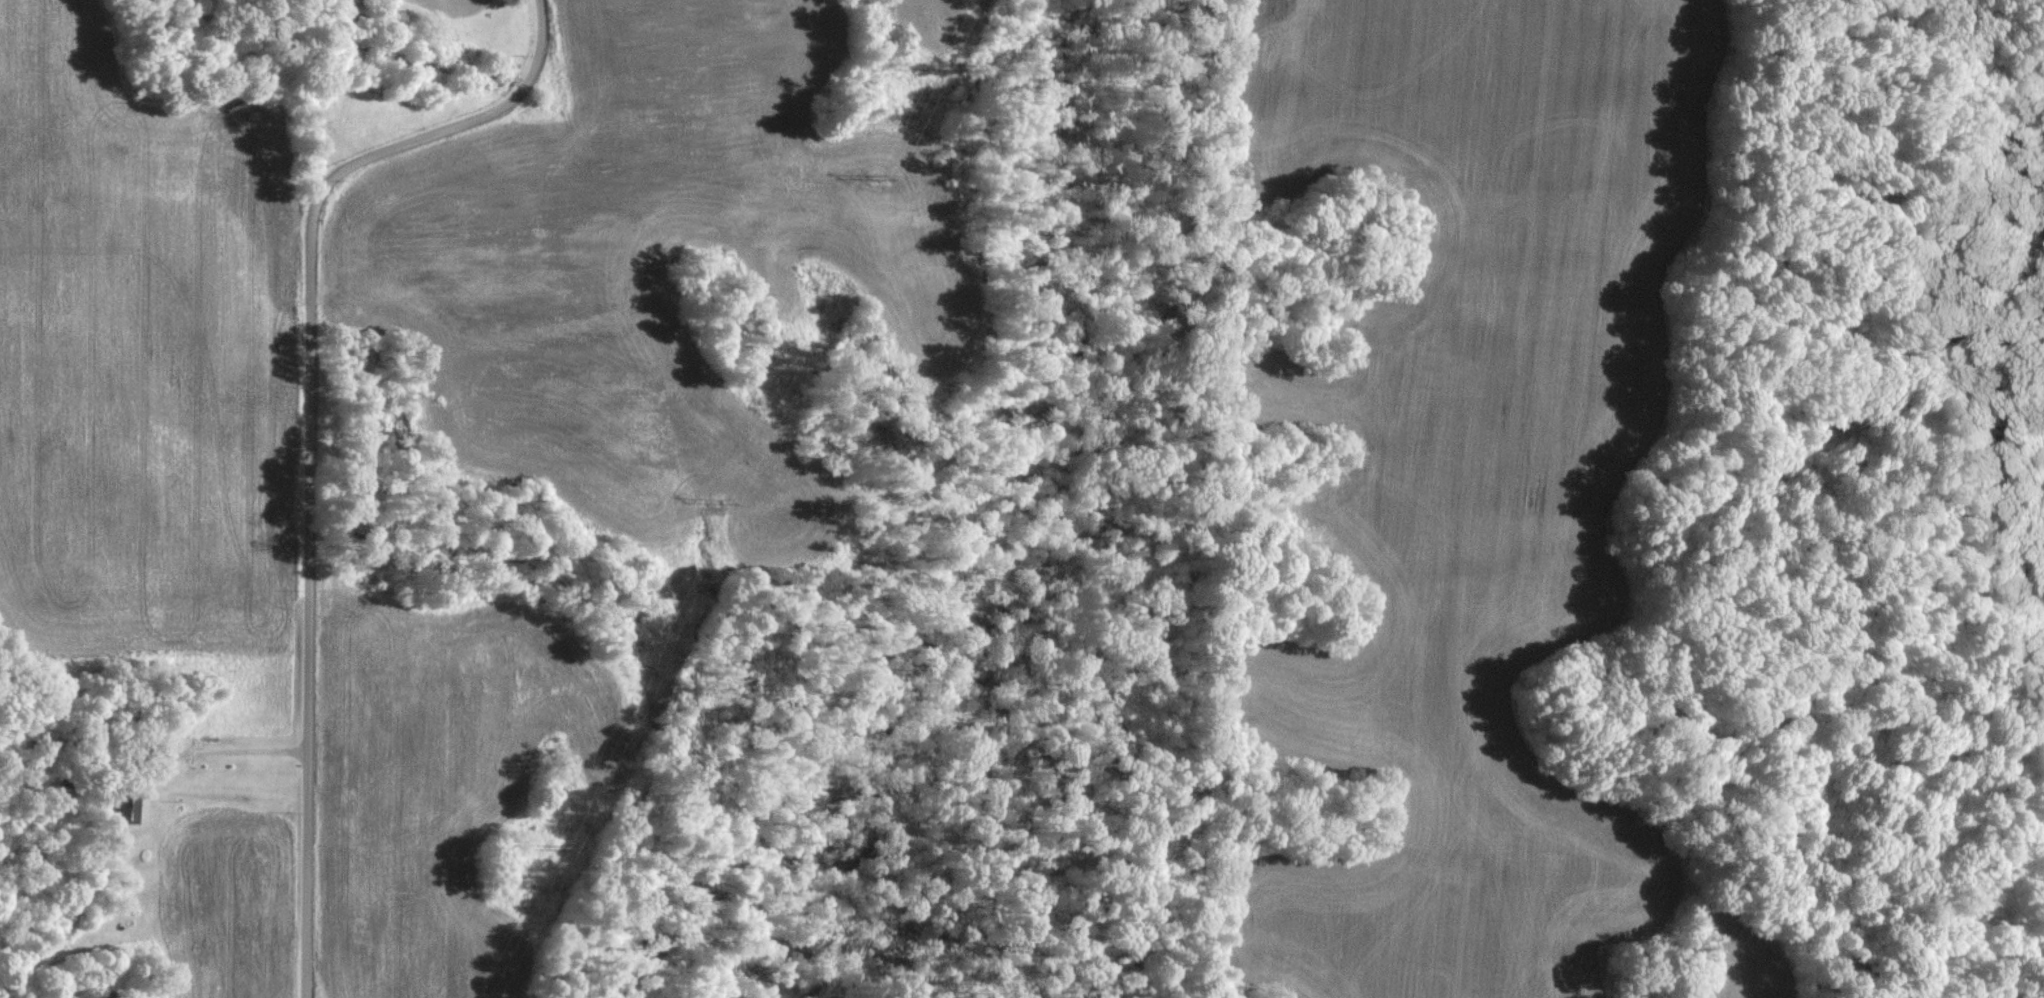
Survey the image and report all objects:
road: (475, 1)
power tower: (881, 176)
road: (303, 426)
power tower: (727, 499)
road: (234, 750)
power tower: (562, 846)

